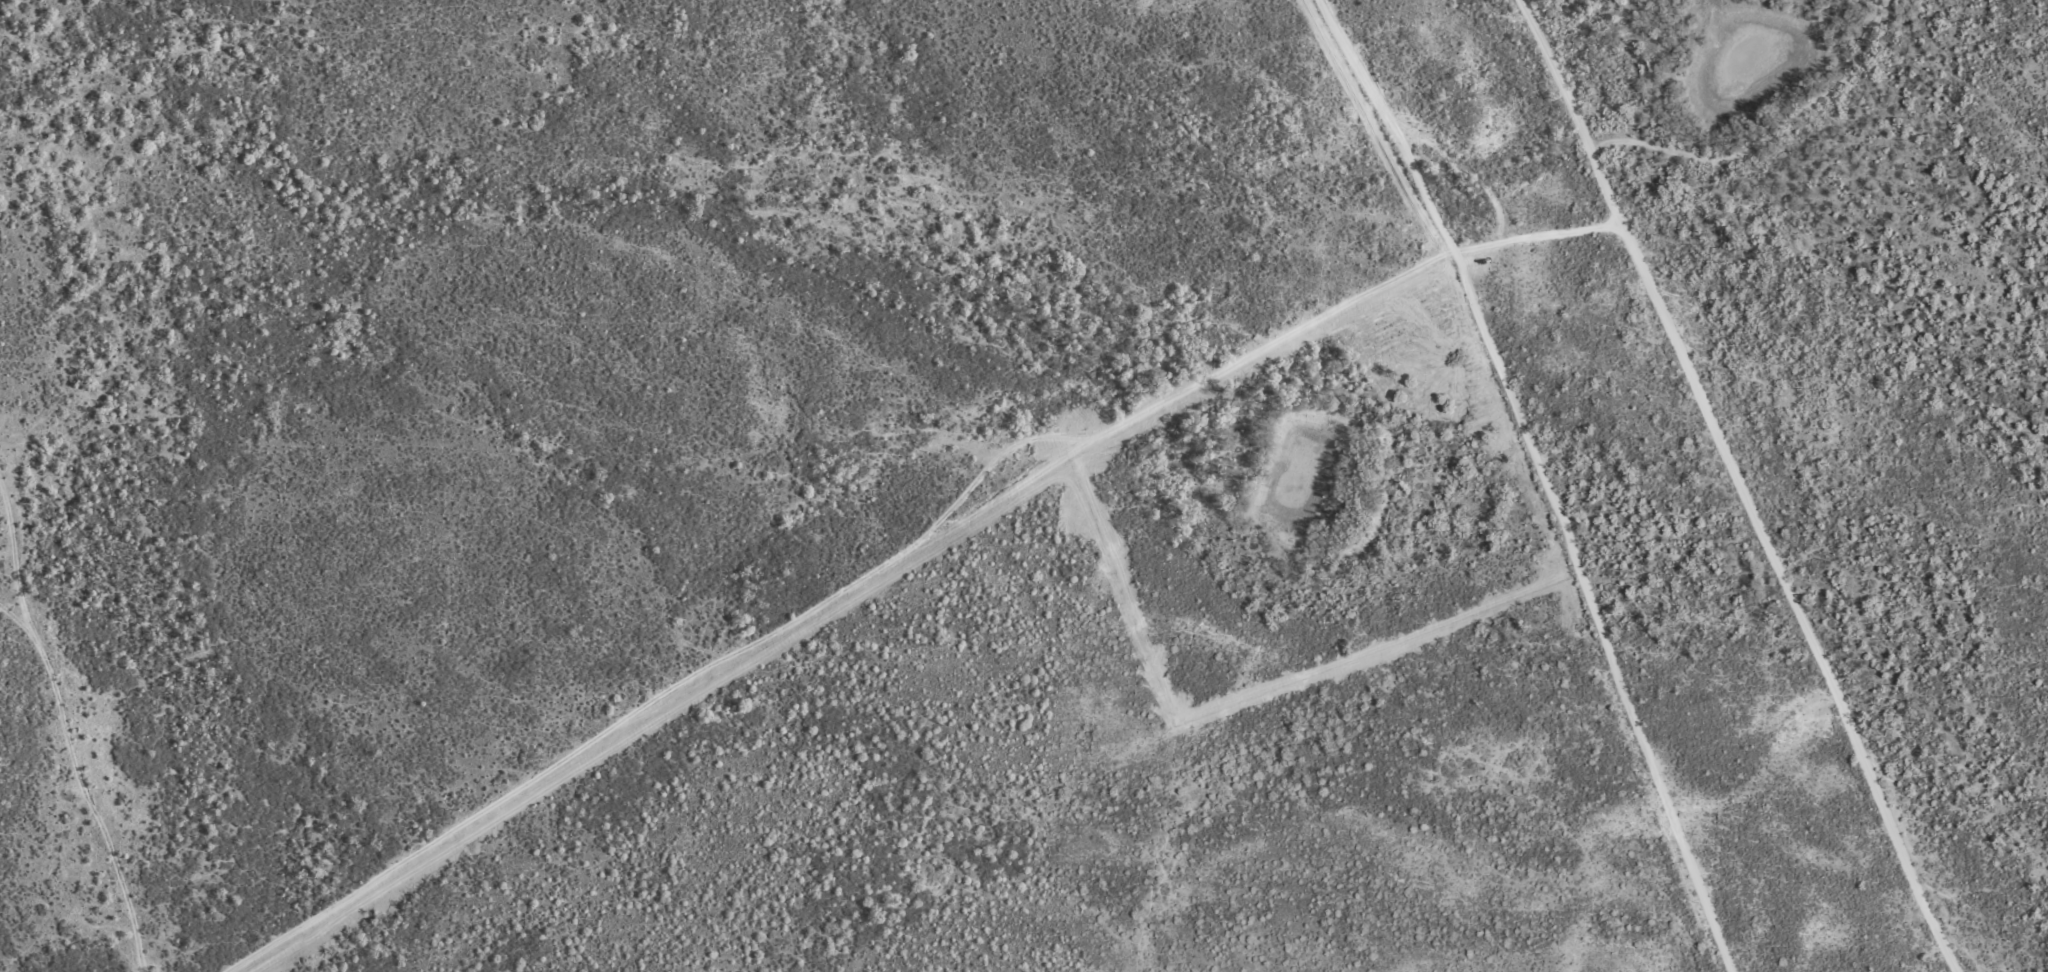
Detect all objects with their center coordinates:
road: (1586, 118)
road: (1261, 346)
road: (285, 681)
road: (72, 719)

